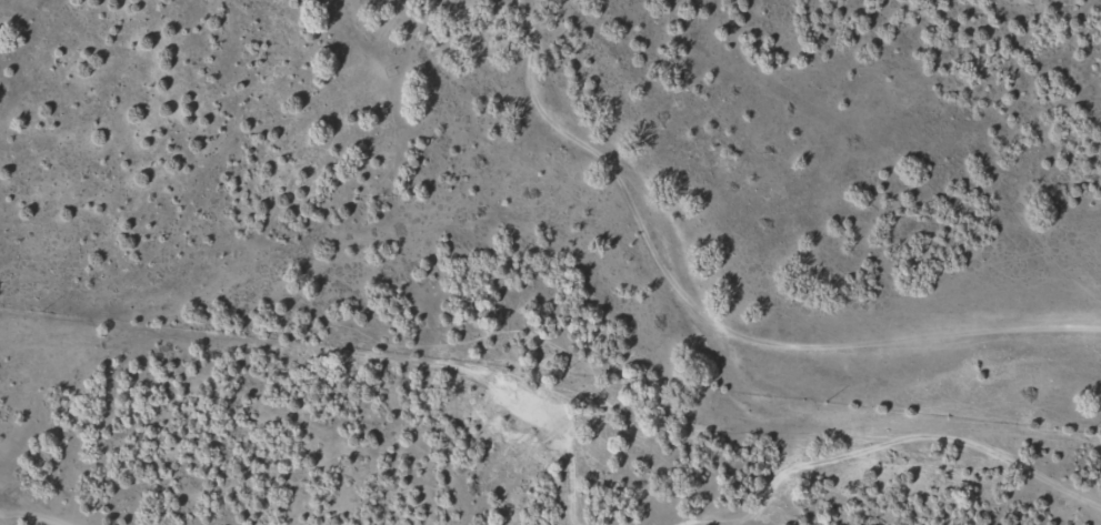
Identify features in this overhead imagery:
road: (701, 363)

